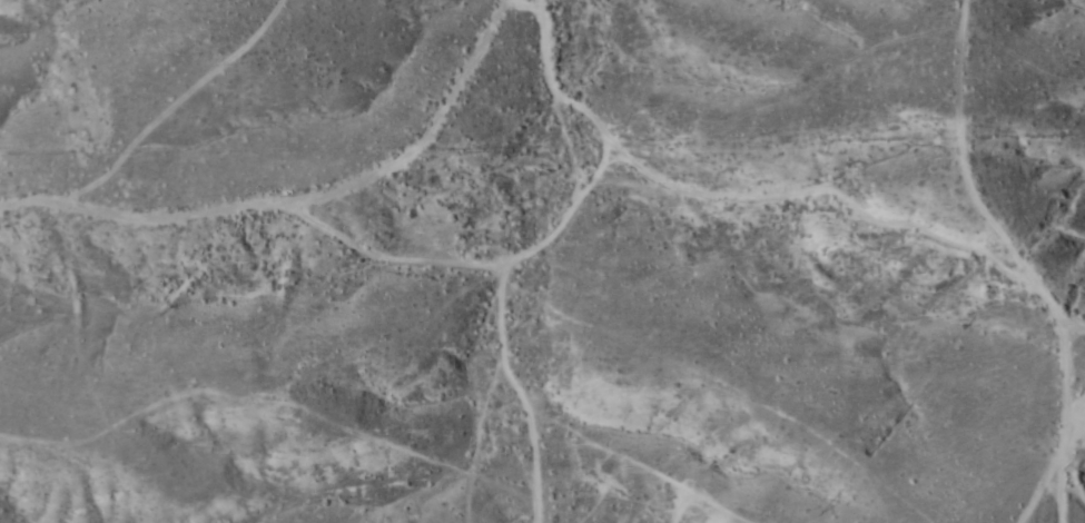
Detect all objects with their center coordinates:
road: (996, 263)

